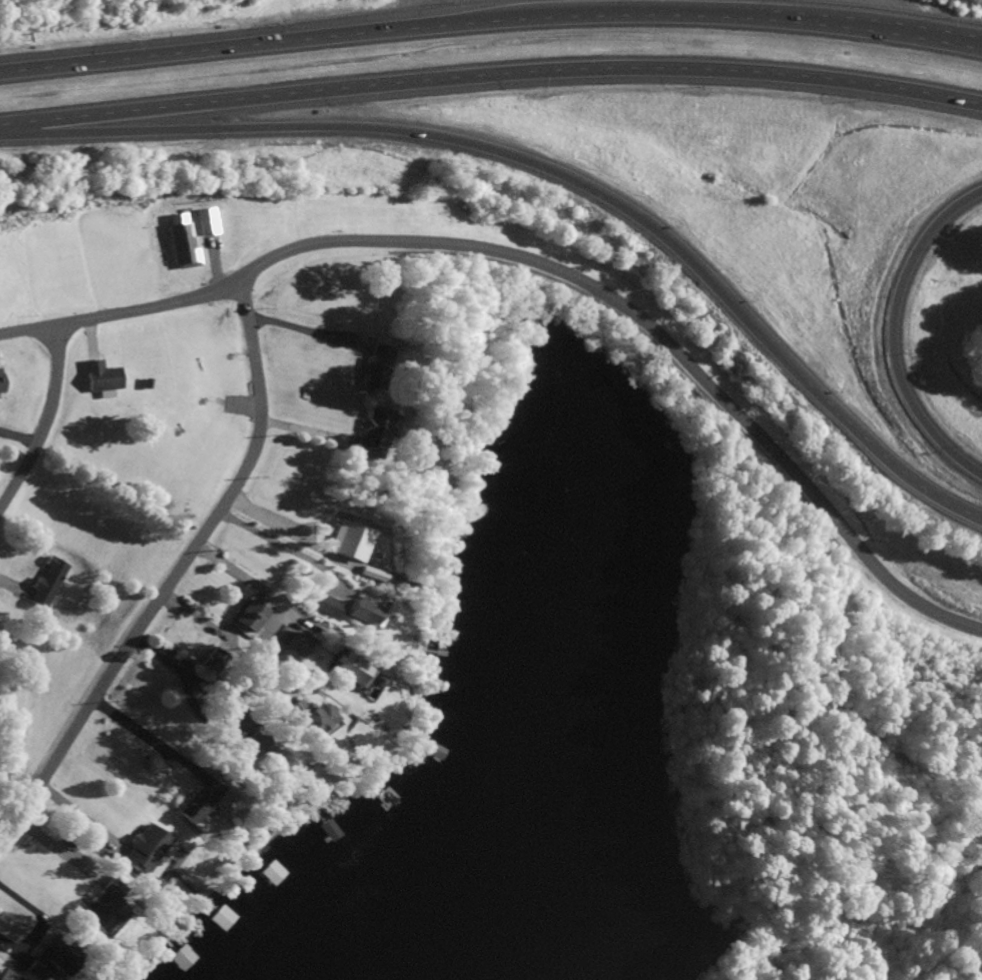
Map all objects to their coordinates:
road: (457, 23)
road: (949, 42)
road: (949, 43)
road: (491, 76)
road: (380, 128)
road: (575, 281)
road: (887, 334)
building: (371, 370)
building: (98, 379)
building: (1, 382)
road: (55, 396)
road: (838, 420)
building: (367, 435)
building: (337, 540)
road: (175, 576)
building: (45, 583)
building: (316, 606)
building: (352, 614)
building: (242, 617)
building: (209, 662)
building: (340, 670)
building: (304, 720)
park: (814, 780)
building: (187, 813)
building: (139, 852)
building: (266, 874)
building: (95, 907)
building: (216, 920)
building: (50, 956)
building: (175, 960)
building: (28, 973)

